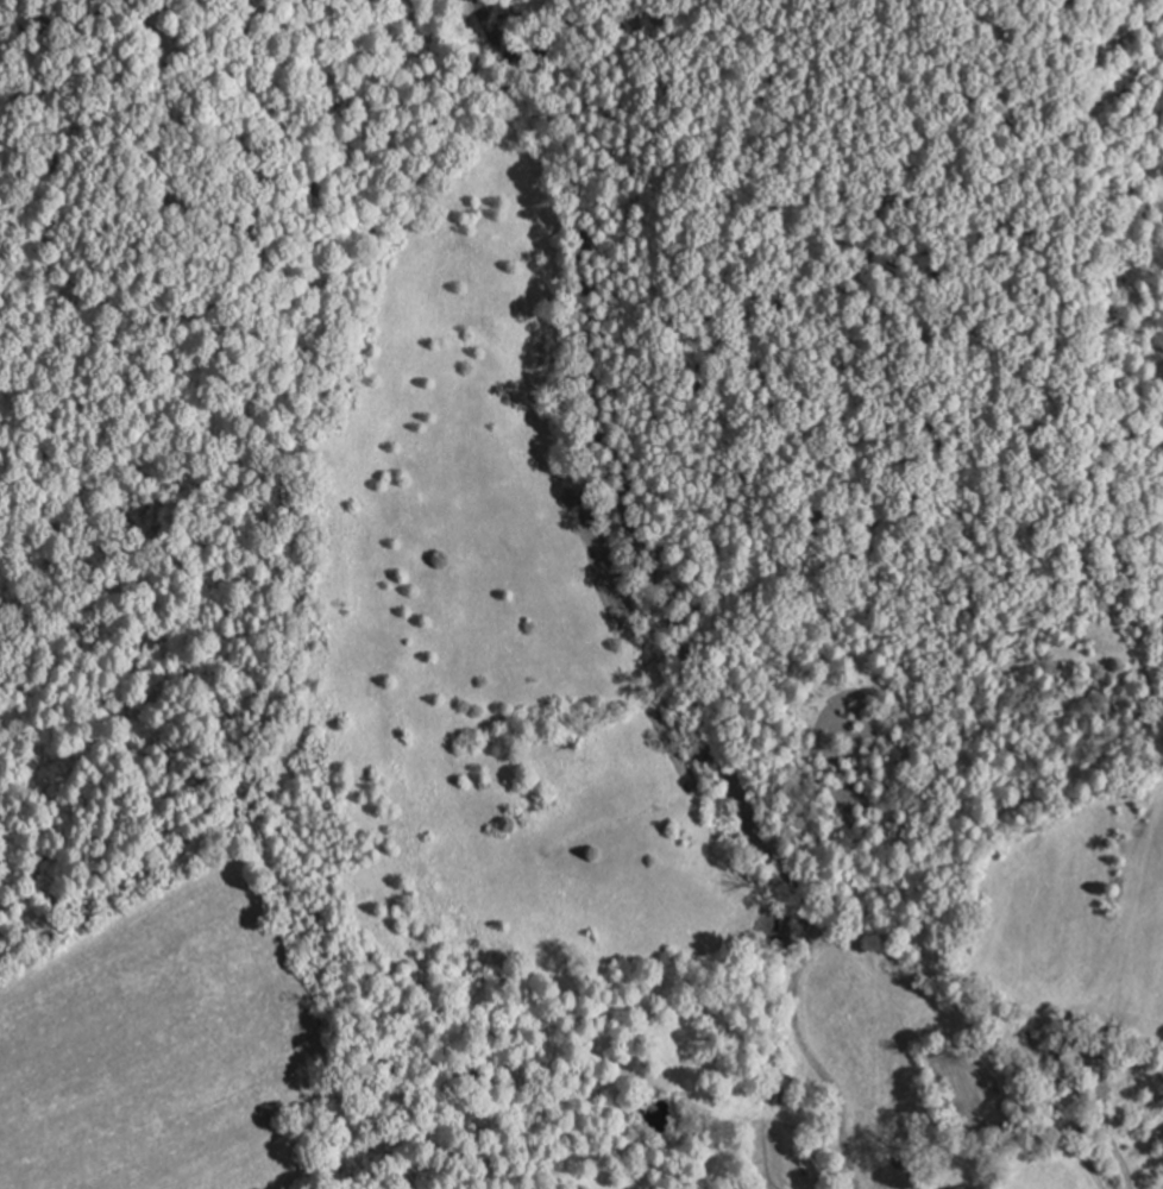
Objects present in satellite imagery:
building: (964, 1187)

